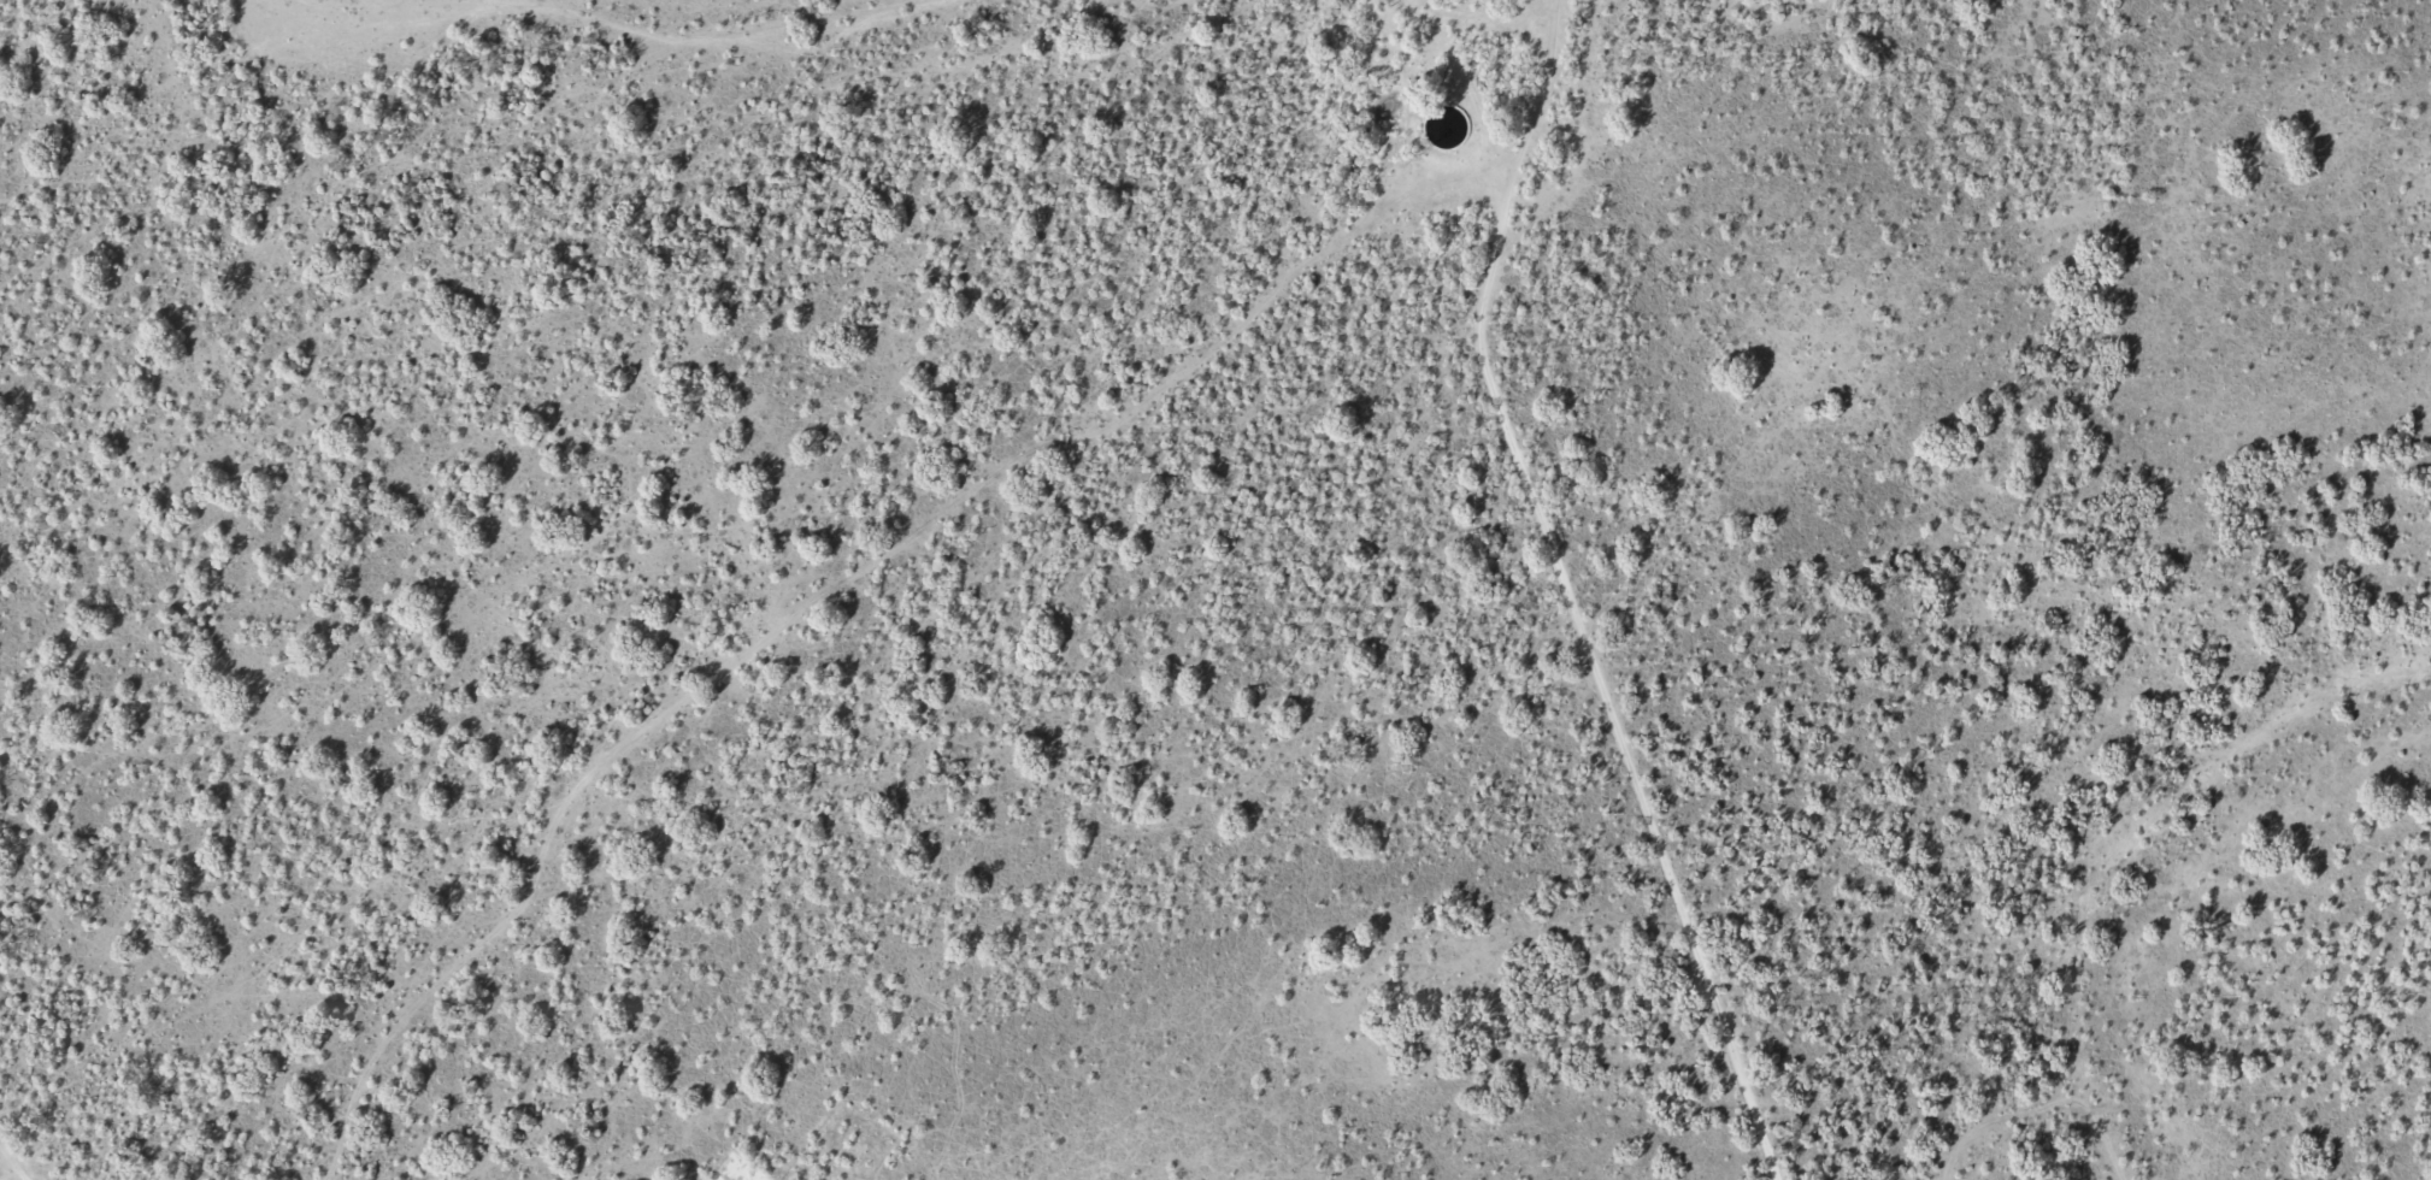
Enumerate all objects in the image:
road: (788, 574)
road: (1543, 585)

